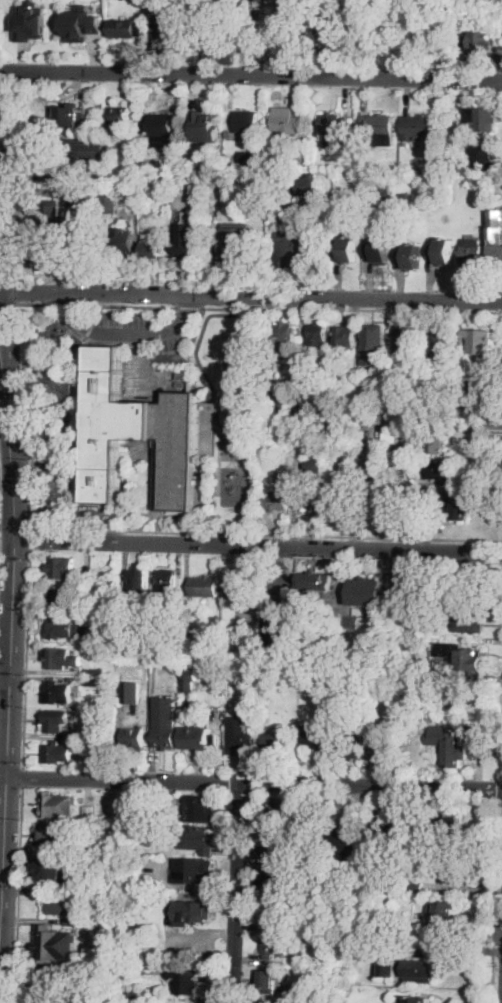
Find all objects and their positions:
building: (260, 1)
building: (292, 7)
building: (221, 20)
building: (40, 22)
building: (331, 22)
building: (82, 24)
building: (171, 25)
building: (126, 28)
building: (477, 42)
building: (221, 50)
road: (251, 74)
building: (71, 115)
building: (120, 117)
building: (479, 120)
building: (244, 121)
building: (206, 126)
building: (287, 126)
building: (417, 127)
building: (161, 128)
building: (334, 128)
building: (378, 129)
building: (86, 151)
building: (483, 157)
building: (192, 159)
building: (158, 161)
building: (409, 170)
building: (175, 173)
building: (166, 182)
building: (222, 183)
building: (74, 184)
building: (310, 186)
building: (385, 192)
building: (404, 196)
building: (79, 198)
building: (111, 202)
building: (156, 203)
building: (50, 214)
building: (288, 214)
road: (6, 216)
building: (74, 222)
building: (326, 231)
building: (496, 232)
building: (187, 240)
building: (121, 245)
building: (153, 246)
building: (238, 246)
building: (295, 247)
building: (379, 248)
building: (346, 249)
building: (441, 252)
building: (410, 257)
building: (473, 257)
building: (56, 258)
road: (14, 291)
road: (250, 298)
road: (39, 301)
road: (70, 304)
road: (128, 306)
road: (192, 308)
road: (354, 310)
road: (65, 323)
building: (318, 334)
road: (127, 336)
building: (284, 337)
building: (344, 337)
building: (478, 340)
building: (407, 342)
building: (438, 343)
building: (373, 344)
road: (79, 350)
road: (1, 355)
building: (270, 362)
building: (182, 374)
building: (305, 375)
traffic signals: (5, 378)
building: (355, 379)
road: (48, 390)
building: (338, 390)
building: (277, 396)
building: (429, 396)
building: (479, 397)
road: (13, 400)
building: (381, 404)
building: (414, 410)
road: (28, 414)
road: (405, 423)
road: (74, 433)
traffic signals: (10, 435)
building: (139, 435)
building: (325, 435)
building: (392, 436)
building: (435, 444)
road: (5, 446)
building: (306, 448)
building: (351, 448)
road: (53, 450)
building: (290, 451)
building: (315, 463)
building: (442, 470)
road: (53, 474)
road: (0, 484)
building: (374, 485)
building: (426, 491)
road: (13, 497)
building: (313, 499)
building: (343, 499)
building: (277, 501)
building: (456, 505)
road: (135, 514)
road: (146, 522)
road: (159, 523)
road: (267, 533)
road: (31, 538)
road: (257, 543)
road: (6, 547)
building: (61, 567)
building: (447, 574)
building: (315, 581)
building: (167, 582)
building: (136, 585)
building: (470, 585)
building: (204, 586)
building: (95, 588)
building: (238, 588)
building: (366, 591)
building: (61, 598)
building: (360, 610)
building: (124, 612)
building: (392, 621)
building: (468, 621)
building: (143, 626)
building: (63, 628)
building: (276, 632)
building: (174, 636)
road: (26, 657)
building: (60, 657)
building: (463, 658)
building: (95, 671)
road: (4, 675)
building: (306, 677)
building: (188, 680)
building: (92, 682)
building: (427, 687)
building: (57, 691)
building: (132, 691)
building: (145, 695)
building: (157, 696)
building: (364, 709)
building: (413, 710)
building: (54, 720)
road: (7, 725)
building: (166, 734)
building: (199, 737)
building: (239, 737)
building: (134, 738)
road: (500, 738)
building: (319, 739)
building: (278, 745)
building: (352, 746)
building: (386, 750)
building: (455, 750)
building: (57, 752)
building: (110, 754)
road: (501, 775)
road: (22, 777)
road: (254, 781)
road: (500, 788)
road: (501, 801)
building: (58, 804)
building: (200, 808)
building: (130, 810)
building: (276, 811)
building: (89, 812)
building: (145, 815)
building: (412, 825)
building: (450, 825)
building: (54, 835)
building: (385, 839)
building: (197, 840)
building: (346, 845)
building: (277, 847)
building: (108, 850)
road: (3, 863)
building: (54, 866)
building: (193, 870)
building: (453, 871)
building: (275, 880)
building: (416, 887)
road: (236, 892)
road: (16, 895)
building: (133, 898)
road: (494, 901)
building: (64, 904)
building: (274, 910)
building: (192, 913)
building: (347, 914)
building: (442, 916)
road: (498, 920)
building: (78, 922)
building: (54, 944)
building: (274, 945)
road: (455, 950)
building: (301, 961)
building: (412, 970)
building: (97, 972)
building: (186, 981)
building: (268, 981)
building: (51, 984)
building: (300, 989)
road: (497, 994)
building: (135, 995)
building: (299, 1000)
building: (419, 1000)
building: (267, 1002)

